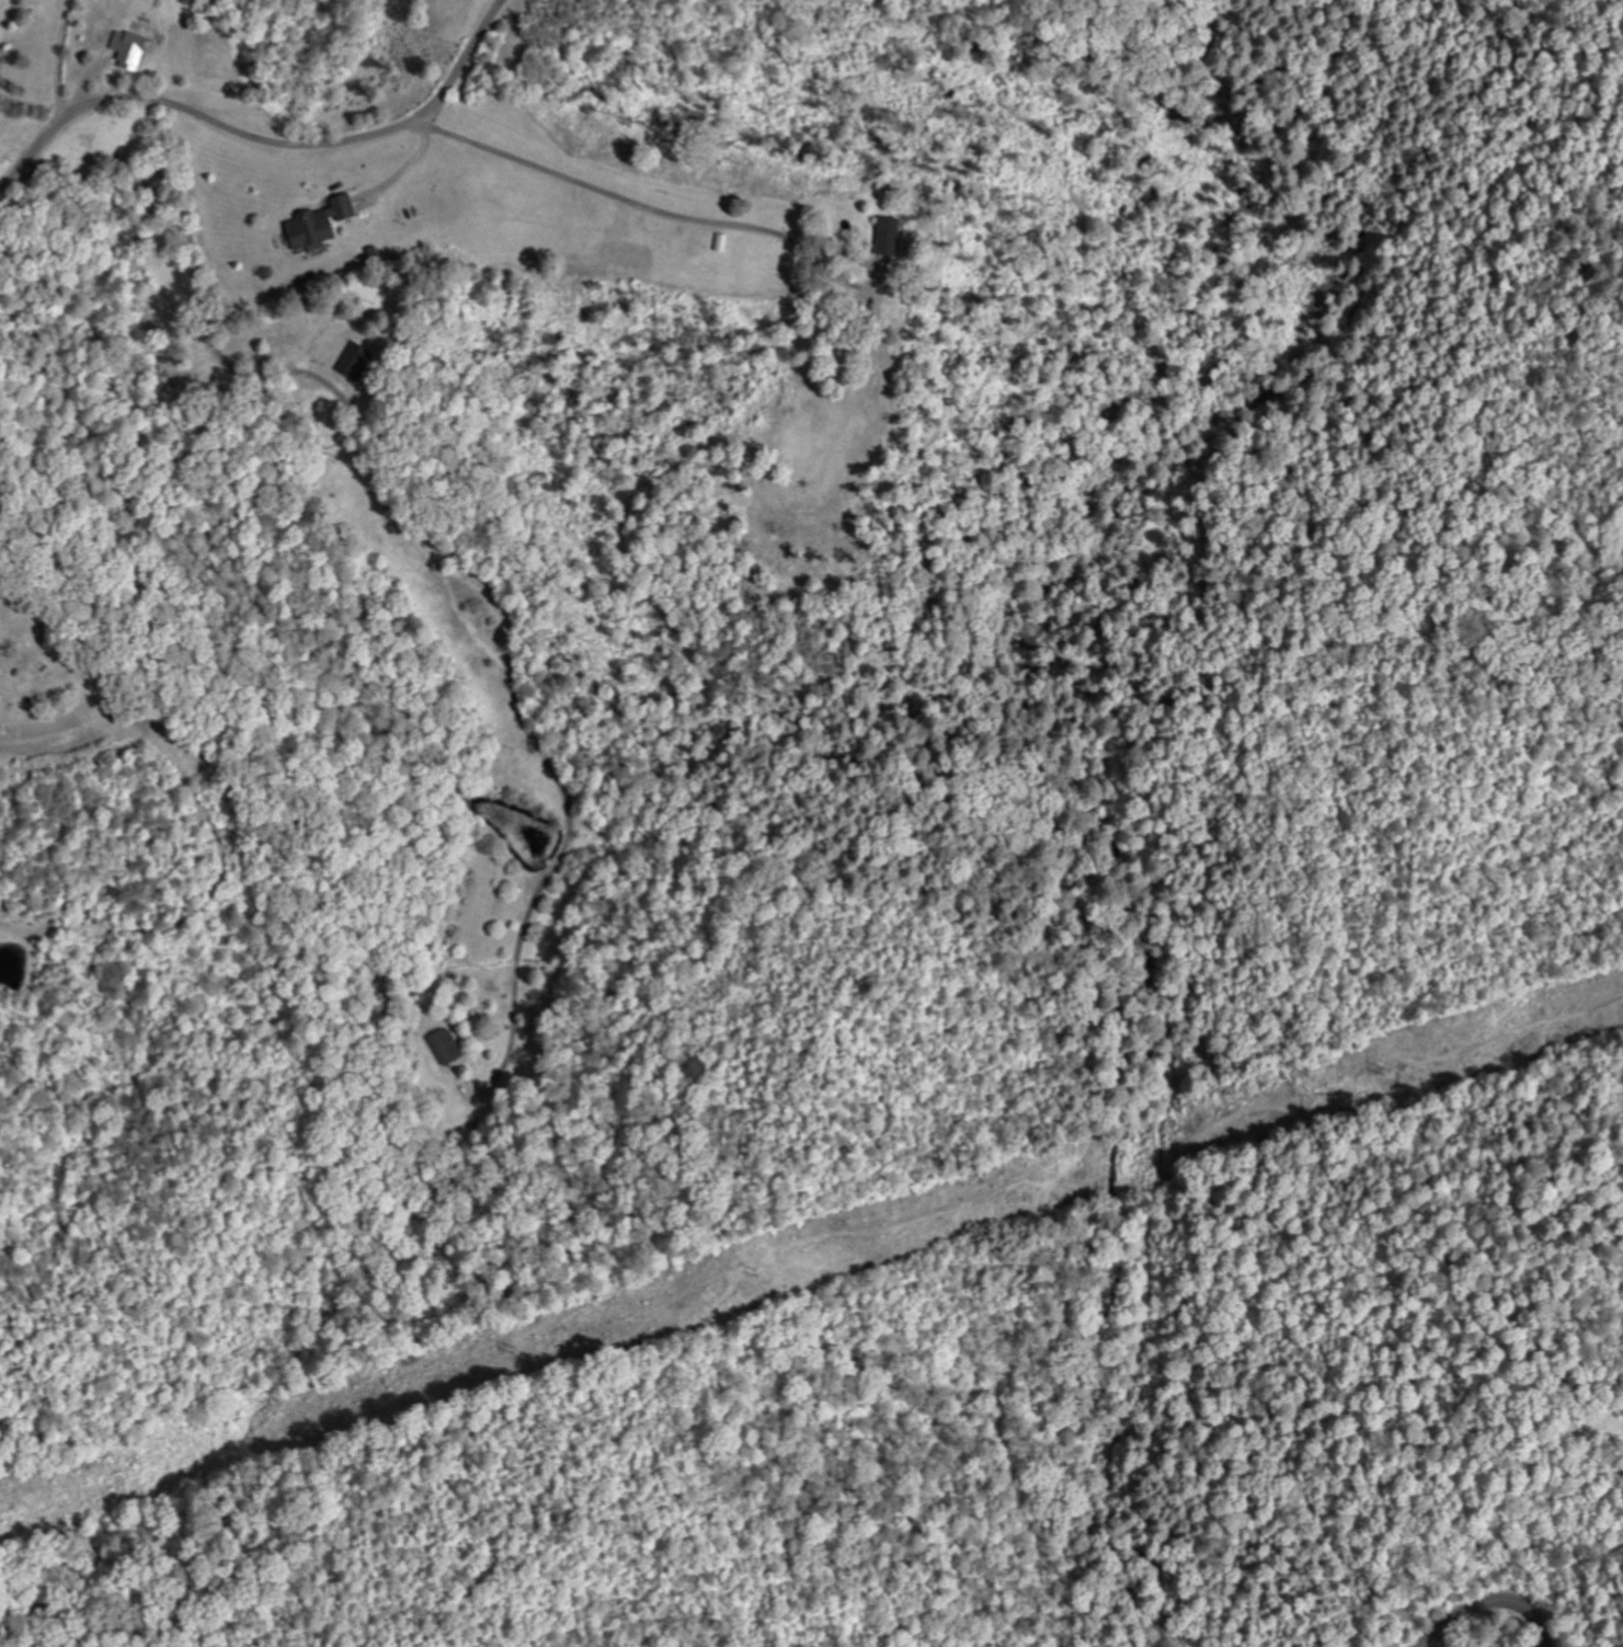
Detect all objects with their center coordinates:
building: (134, 48)
road: (262, 139)
road: (603, 190)
building: (328, 222)
building: (896, 232)
road: (197, 279)
building: (356, 365)
building: (450, 1048)
road: (1489, 1604)

